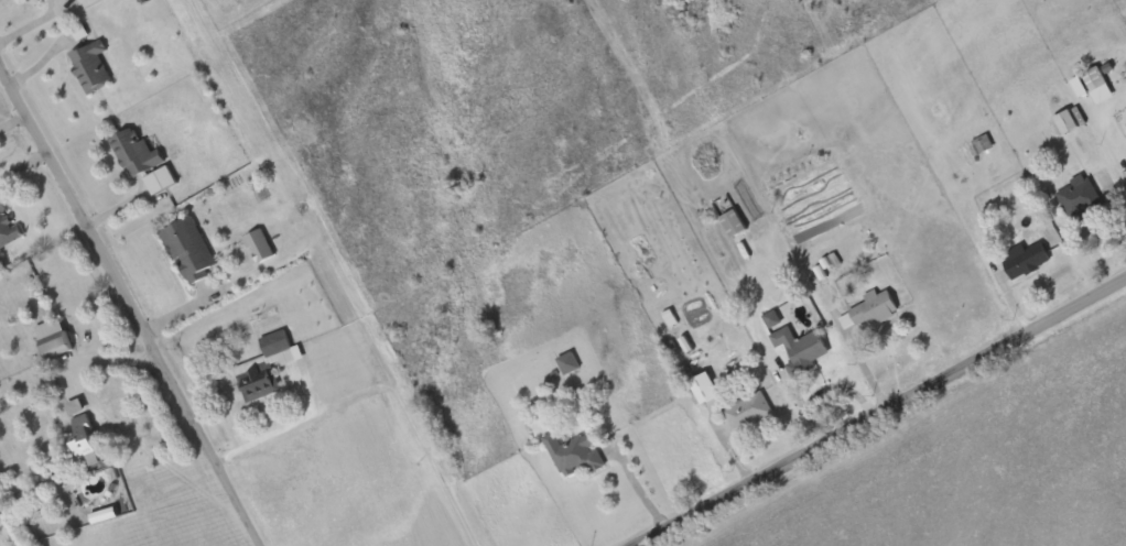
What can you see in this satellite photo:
building: (93, 65)
building: (1097, 84)
building: (1067, 121)
building: (981, 144)
building: (137, 153)
building: (1080, 197)
building: (735, 222)
building: (8, 225)
building: (260, 245)
building: (191, 250)
building: (1026, 260)
building: (870, 309)
road: (126, 310)
building: (54, 338)
building: (801, 347)
building: (570, 363)
building: (268, 365)
building: (748, 411)
road: (896, 423)
building: (83, 441)
building: (574, 454)

